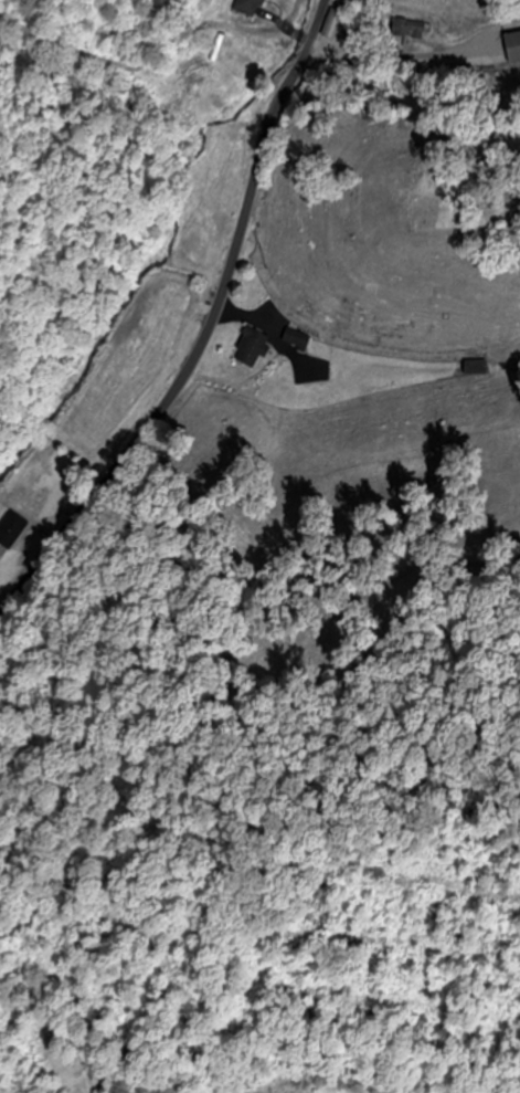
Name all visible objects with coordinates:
building: (245, 8)
building: (332, 25)
building: (510, 48)
park: (457, 195)
road: (208, 333)
building: (295, 339)
building: (250, 348)
building: (474, 368)

